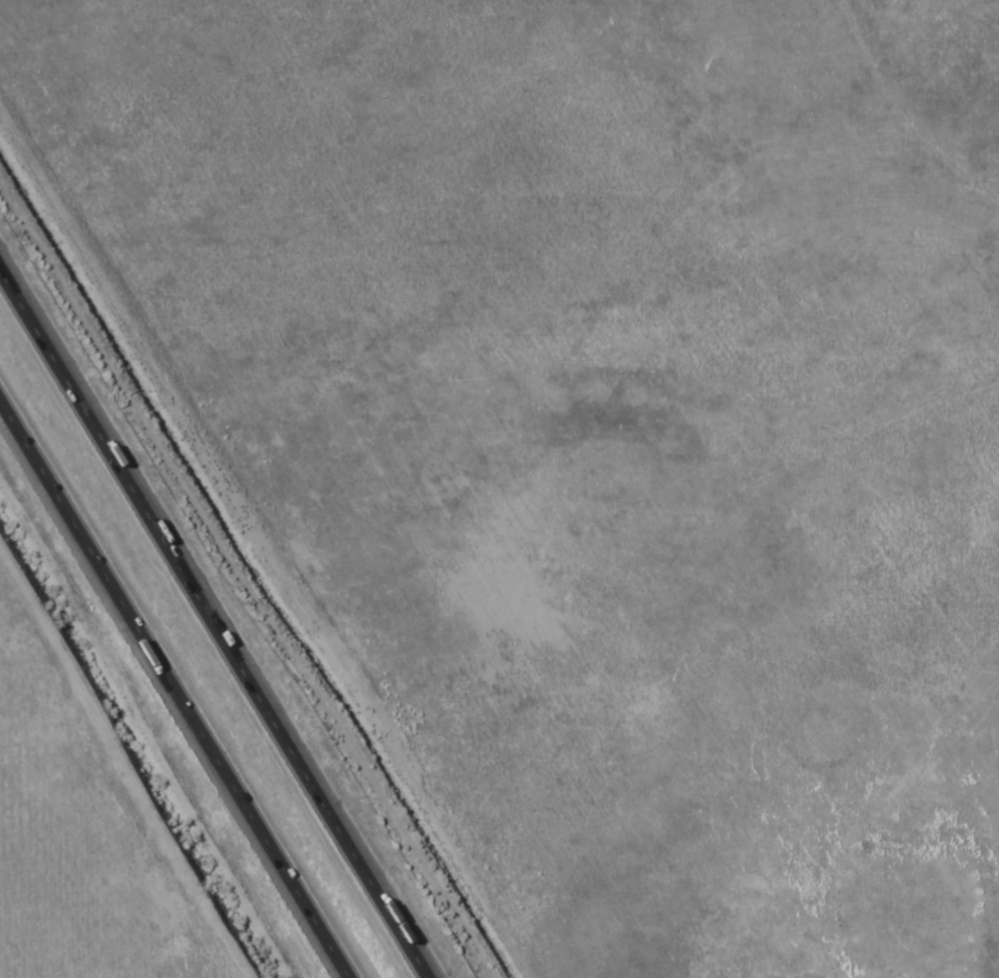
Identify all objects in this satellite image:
road: (216, 619)
road: (175, 687)

